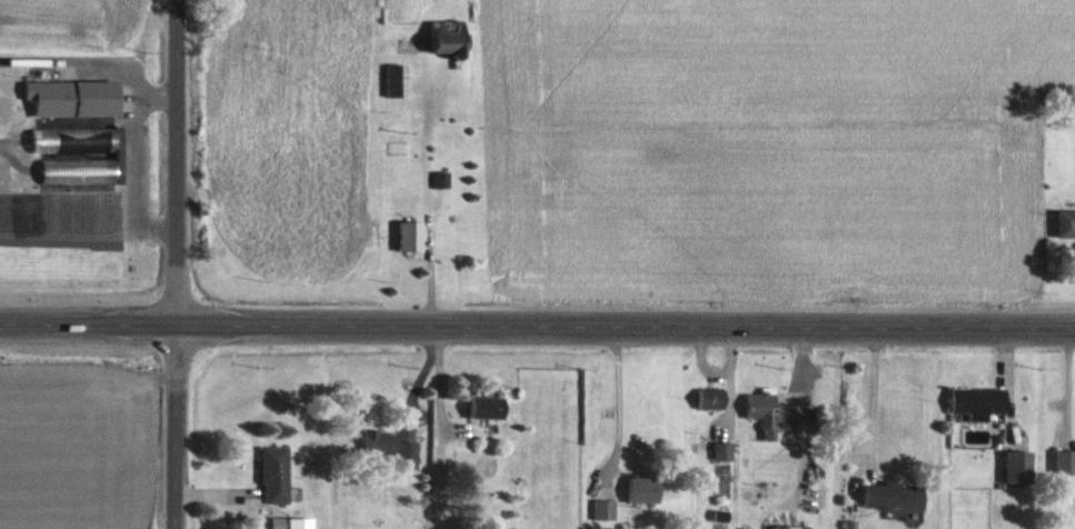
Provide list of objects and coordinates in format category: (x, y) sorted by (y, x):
building: (450, 37)
road: (89, 54)
building: (399, 81)
building: (77, 124)
road: (159, 167)
road: (116, 172)
building: (438, 183)
building: (1065, 227)
building: (409, 240)
road: (537, 330)
road: (852, 388)
building: (709, 402)
building: (977, 405)
building: (485, 411)
building: (772, 418)
road: (159, 431)
building: (386, 453)
building: (720, 456)
building: (1064, 463)
building: (1019, 470)
building: (275, 479)
building: (643, 495)
building: (892, 500)
building: (603, 515)
building: (298, 526)
building: (848, 528)

